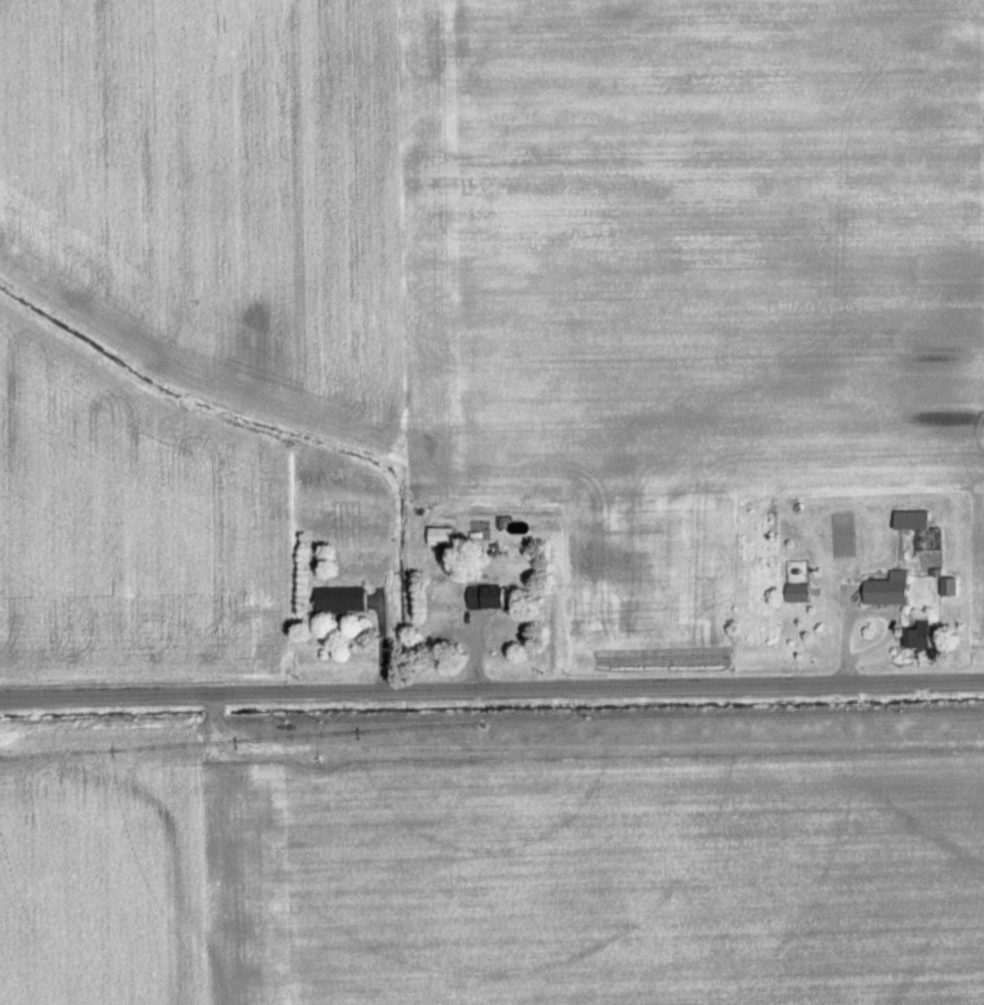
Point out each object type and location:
building: (916, 525)
building: (440, 536)
building: (948, 586)
building: (887, 589)
building: (795, 593)
building: (488, 597)
building: (340, 600)
building: (918, 636)
road: (491, 687)

